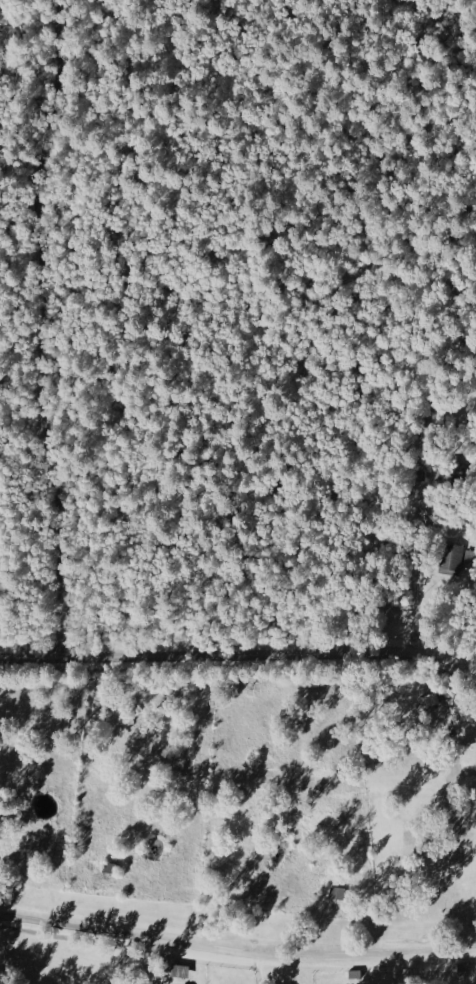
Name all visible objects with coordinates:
road: (434, 69)
road: (34, 328)
building: (431, 477)
building: (454, 554)
road: (413, 572)
road: (457, 652)
road: (239, 655)
building: (430, 700)
building: (463, 722)
road: (458, 772)
road: (237, 954)
building: (180, 971)
road: (0, 979)

